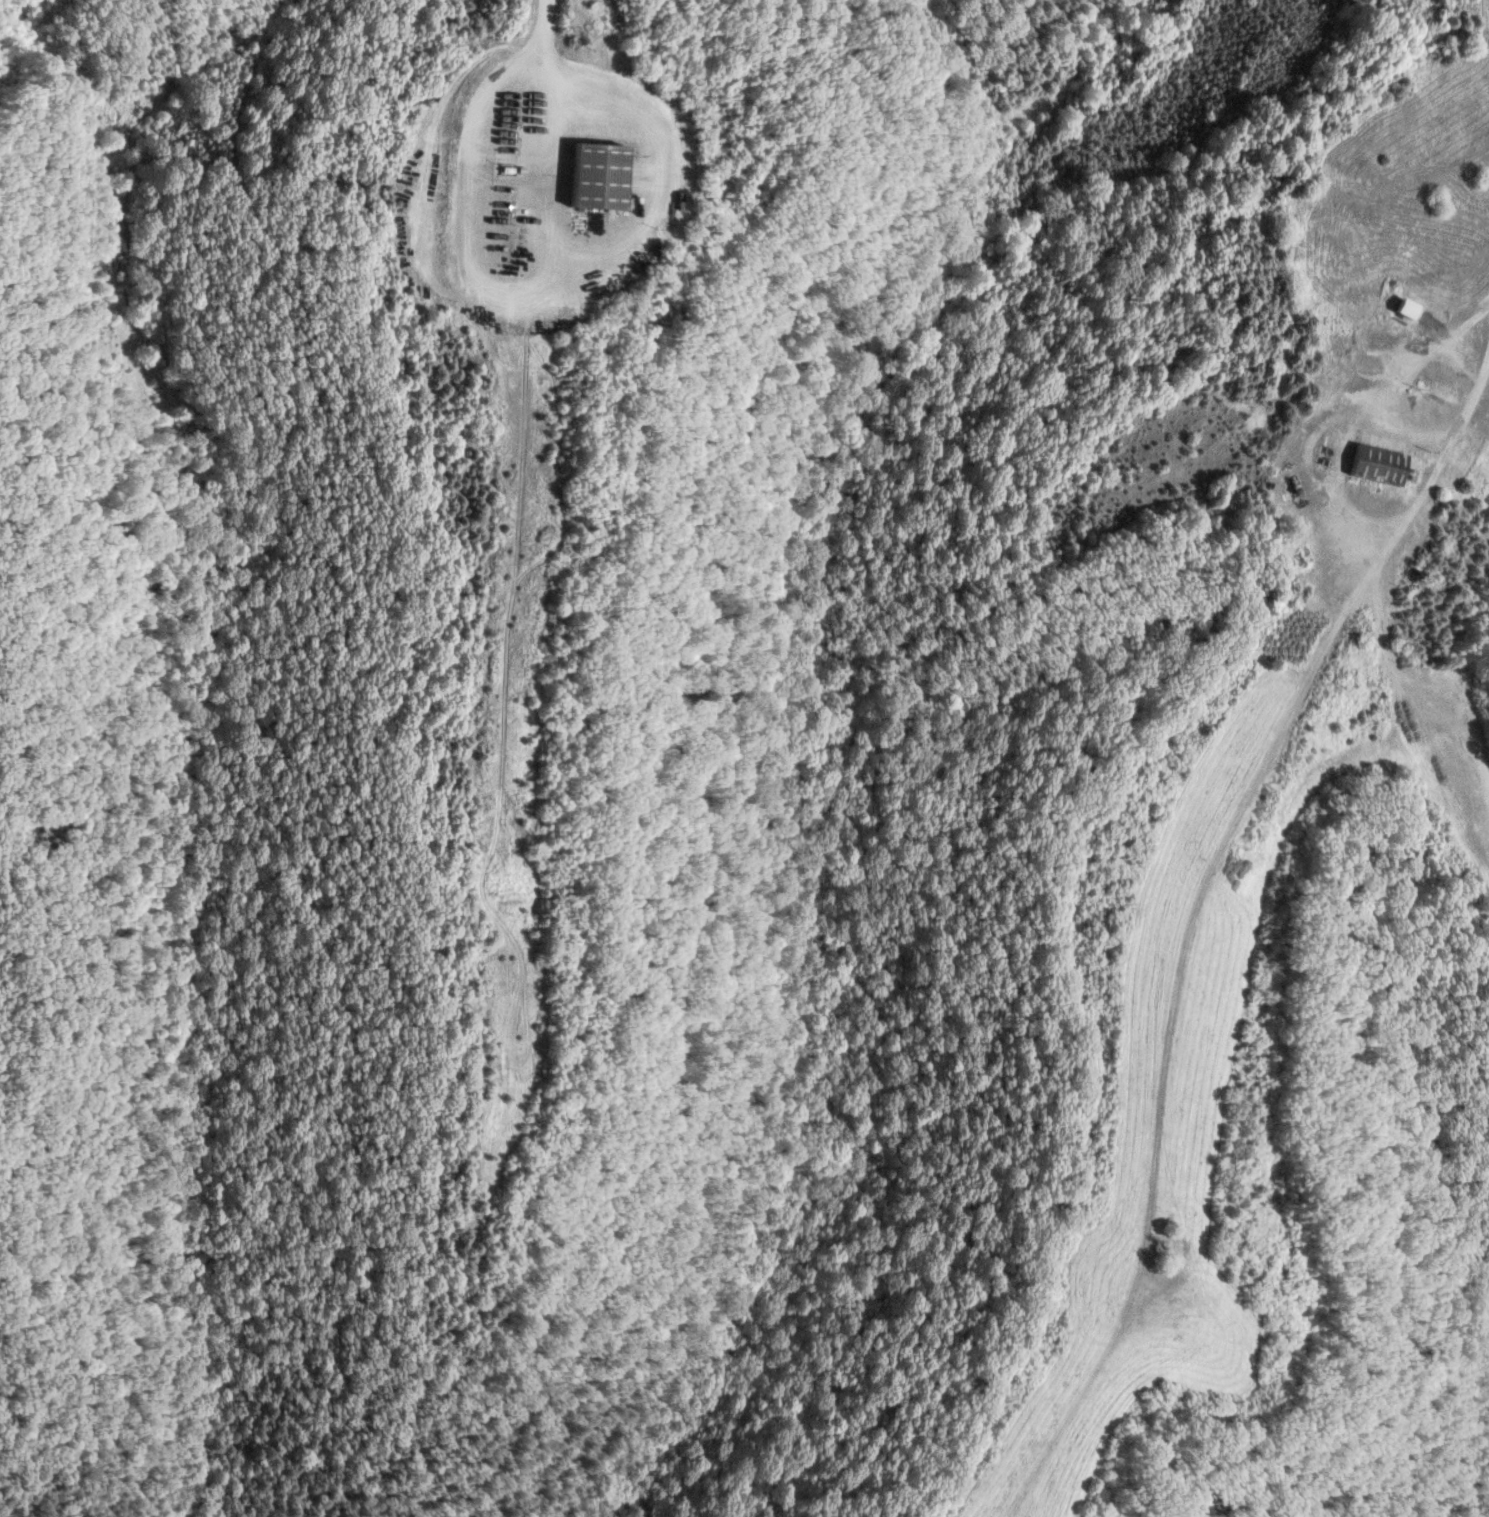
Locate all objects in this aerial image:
road: (542, 89)
building: (598, 175)
building: (1407, 307)
road: (1325, 420)
building: (1380, 464)
road: (1250, 822)

